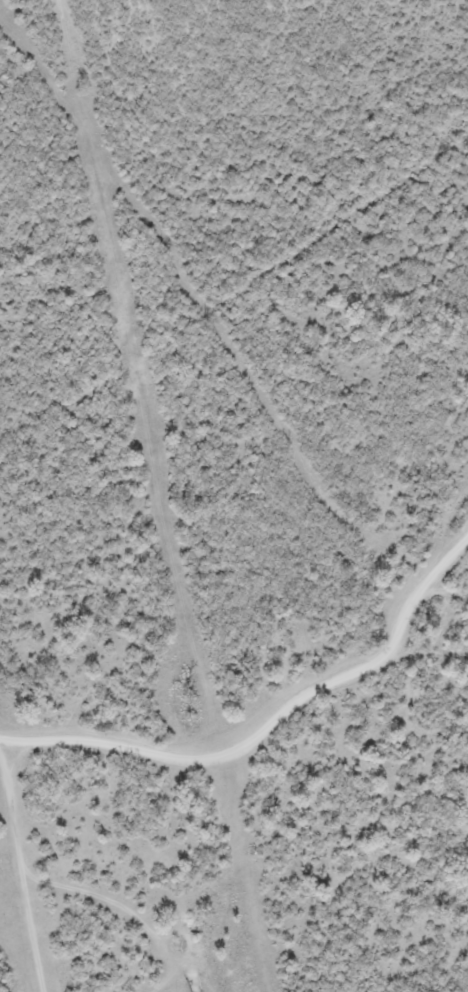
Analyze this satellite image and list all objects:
road: (268, 729)

